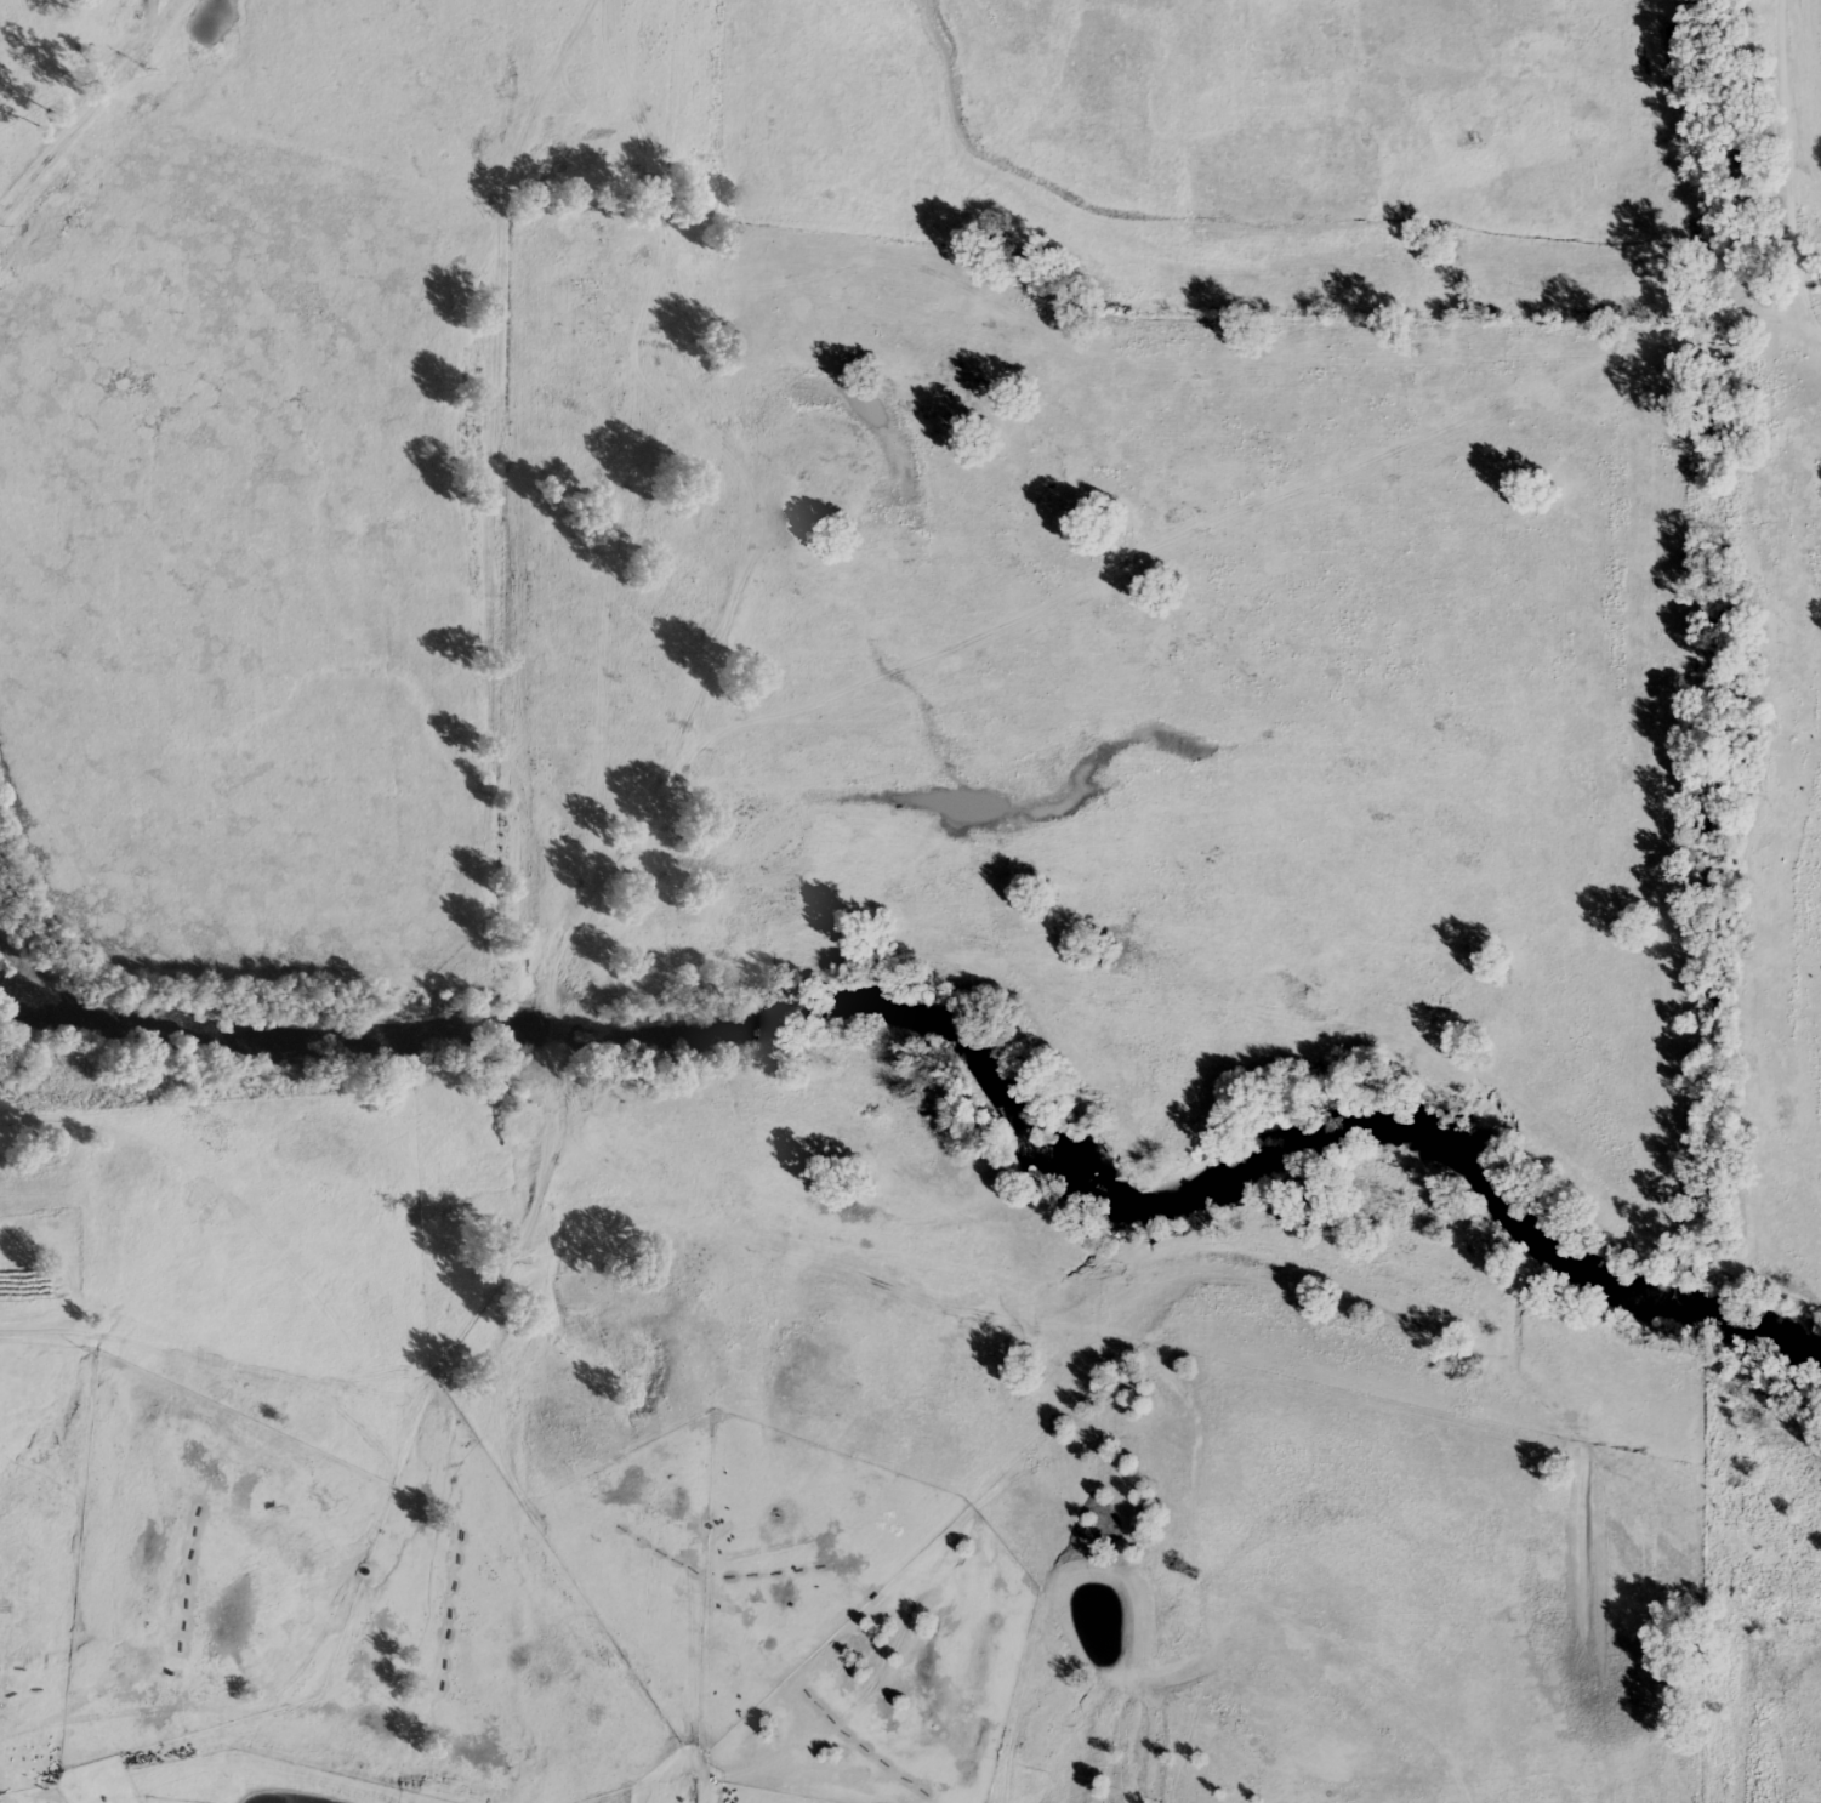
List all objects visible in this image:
road: (97, 119)
road: (1742, 183)

